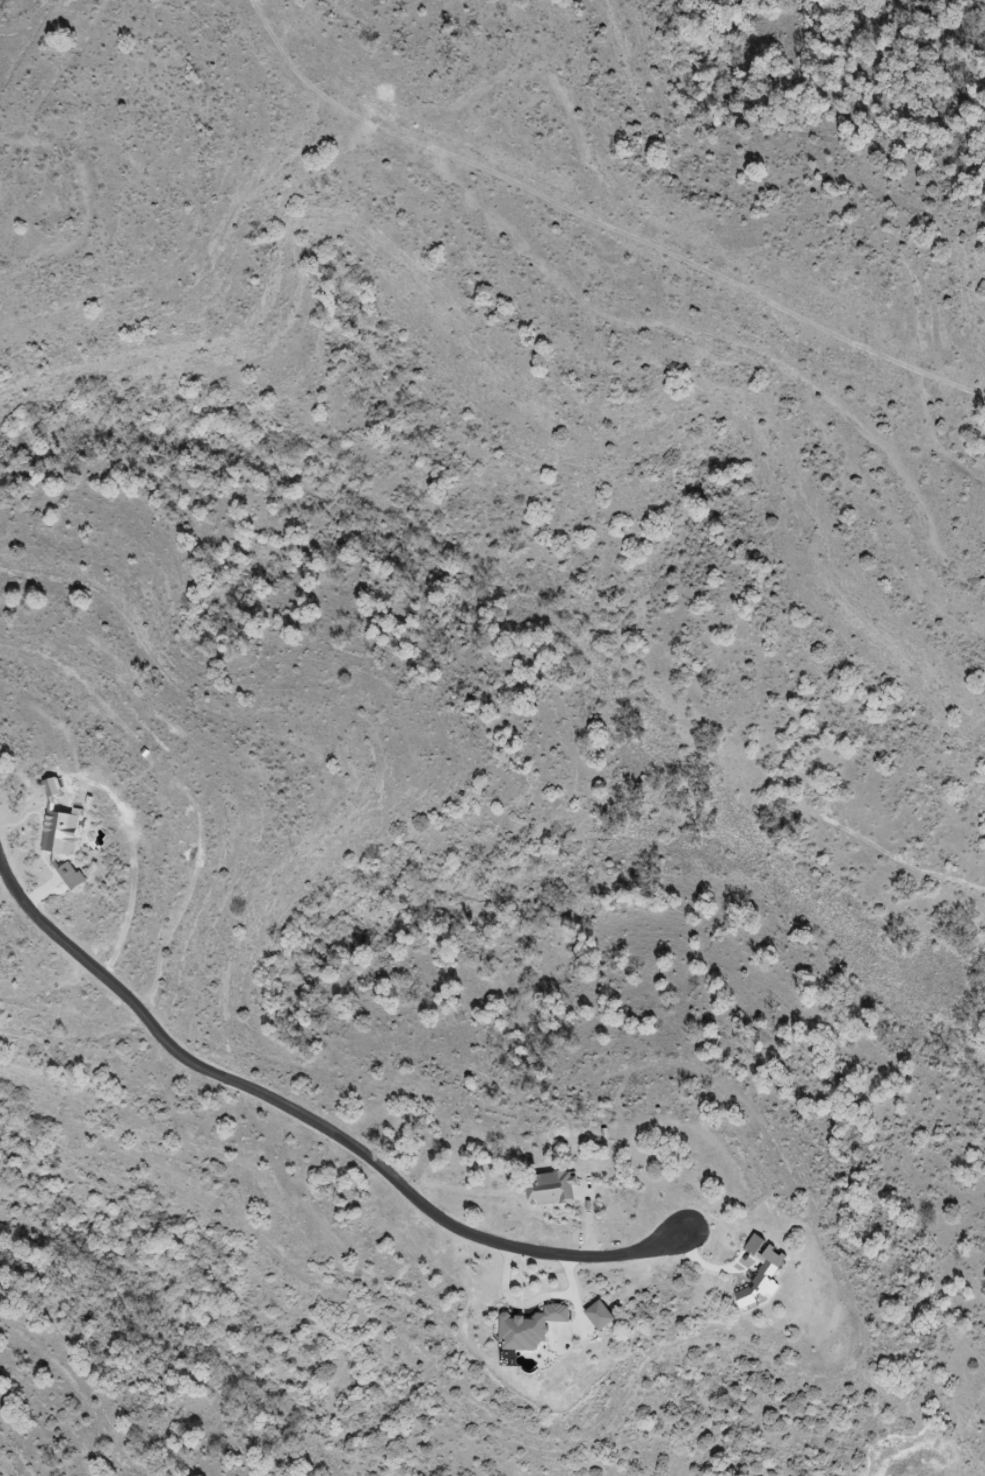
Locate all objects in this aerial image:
building: (60, 834)
road: (321, 1124)
building: (551, 1188)
road: (533, 1304)

